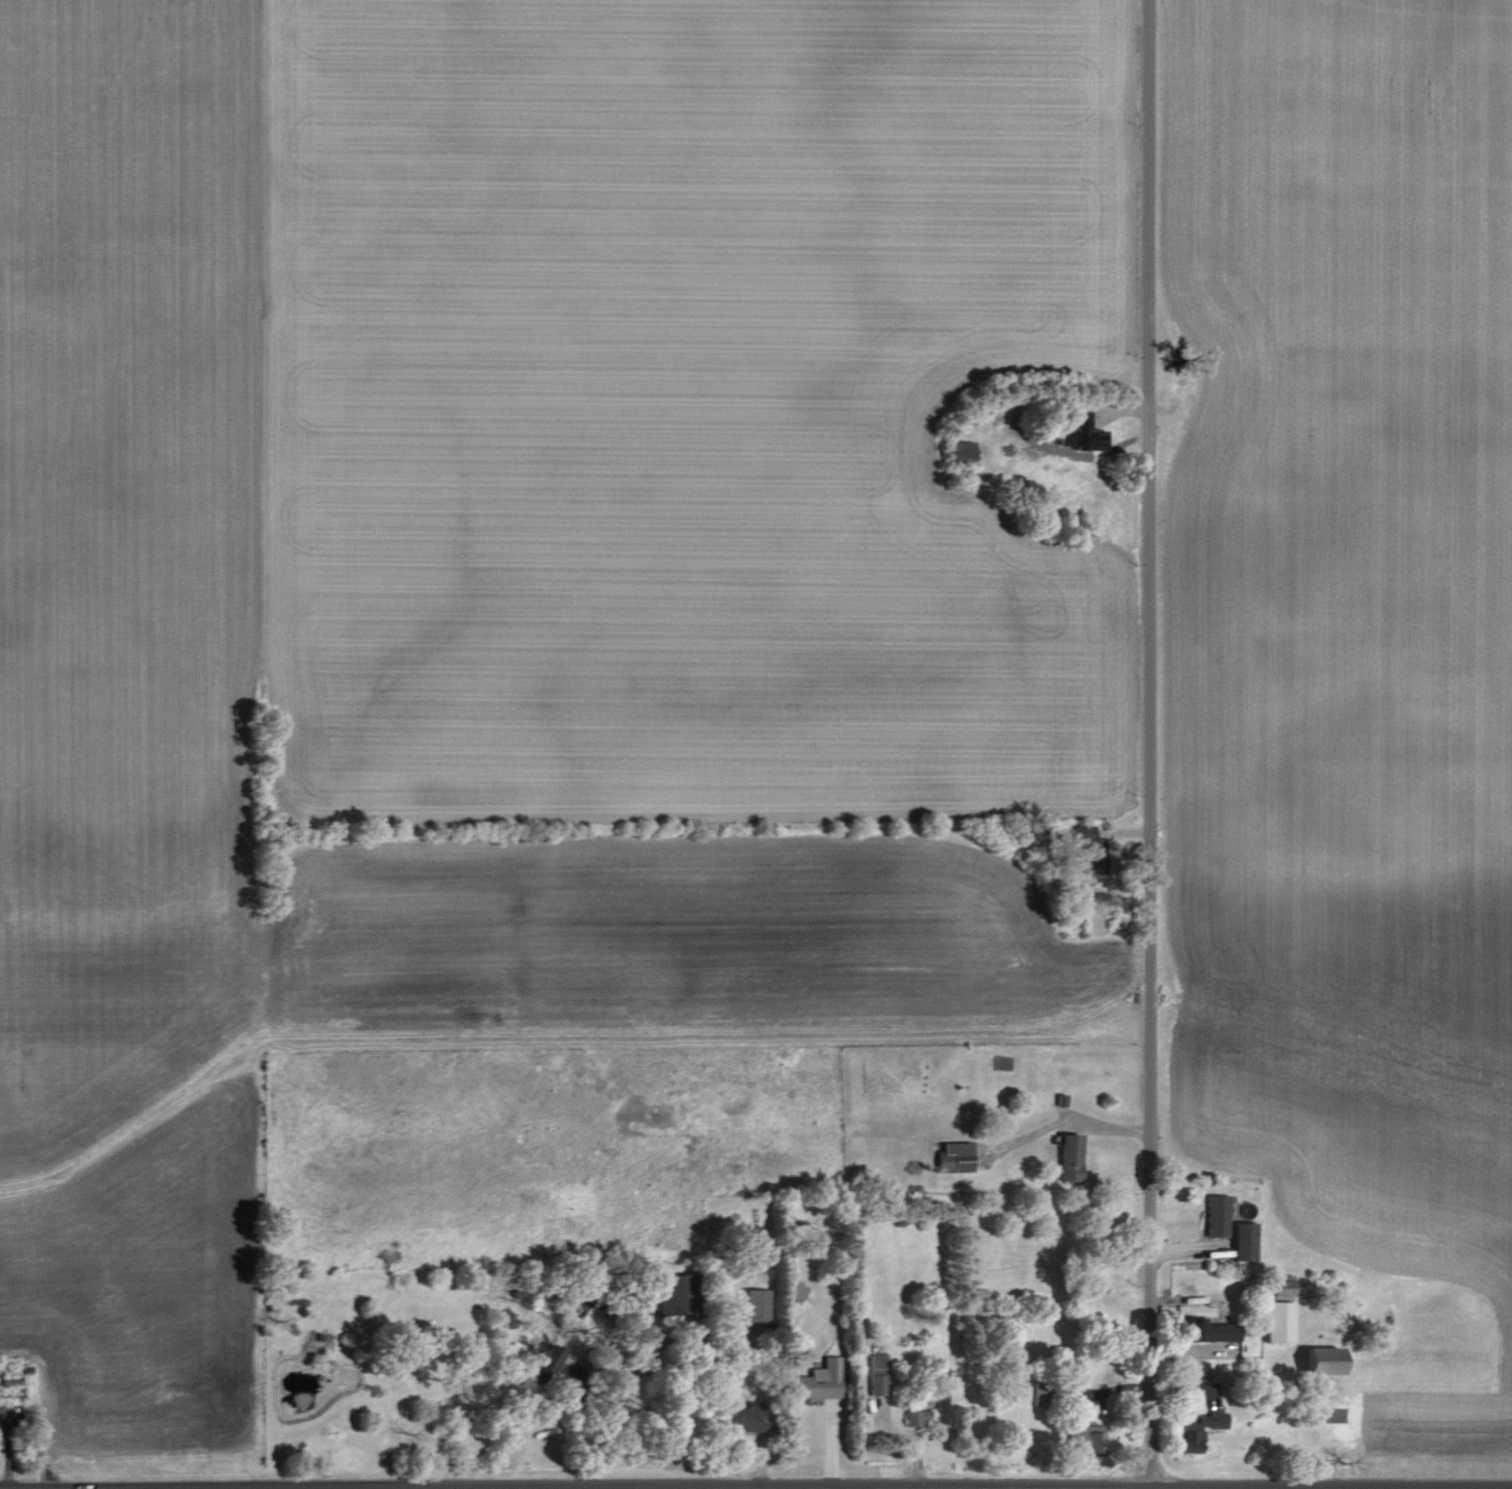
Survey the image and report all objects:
building: (1078, 433)
building: (957, 451)
road: (1146, 744)
building: (1081, 834)
building: (1087, 862)
building: (951, 1156)
building: (1066, 1156)
building: (1213, 1215)
building: (1240, 1240)
building: (1278, 1286)
building: (793, 1290)
building: (668, 1293)
building: (751, 1304)
building: (1274, 1321)
building: (1208, 1330)
building: (1317, 1360)
building: (1190, 1371)
building: (875, 1373)
building: (815, 1381)
building: (938, 1397)
road: (612, 1398)
building: (914, 1417)
building: (740, 1419)
building: (1208, 1419)
building: (1185, 1437)
building: (1082, 1438)
road: (914, 1443)

